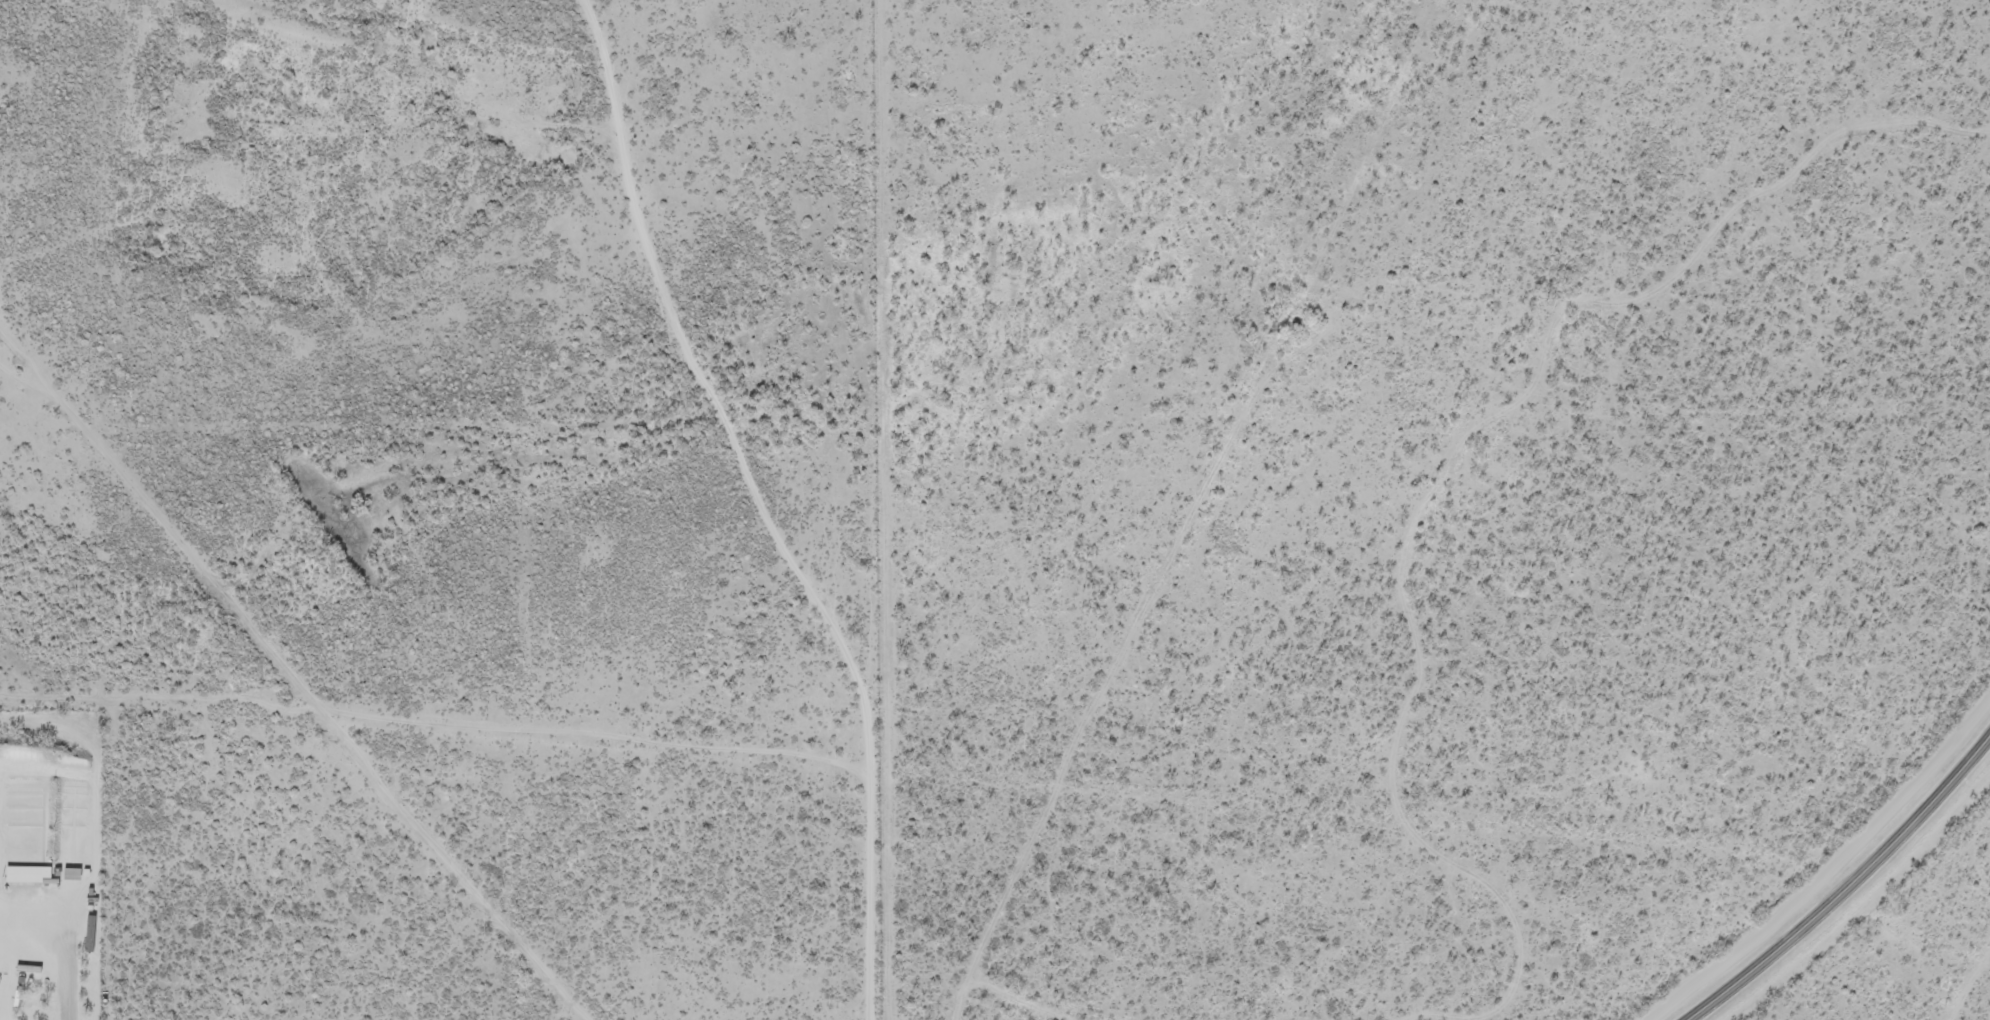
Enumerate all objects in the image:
road: (16, 343)
road: (765, 505)
road: (289, 683)
road: (142, 712)
road: (1848, 889)
building: (88, 935)
road: (100, 997)

